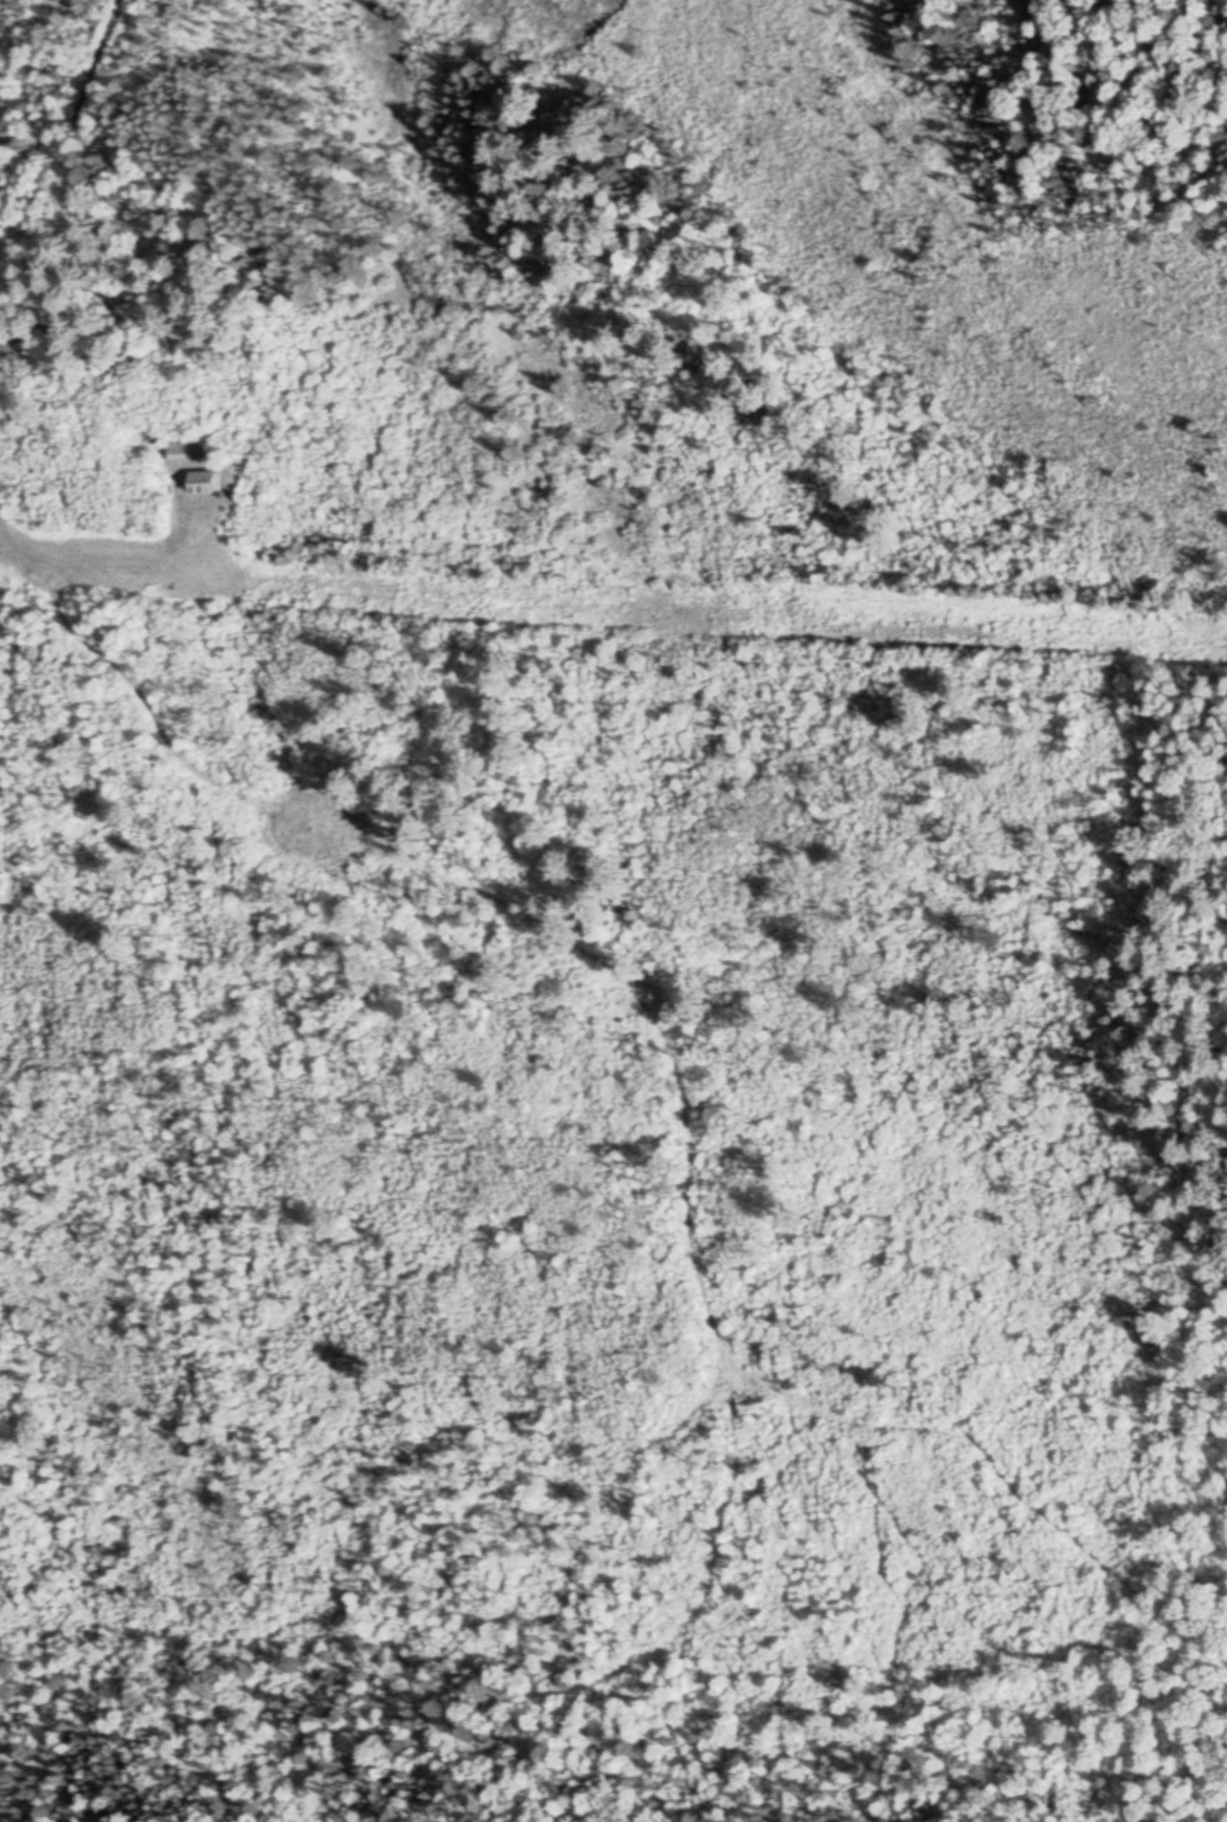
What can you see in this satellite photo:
road: (29, 69)
building: (182, 450)
building: (211, 485)
road: (56, 1016)

